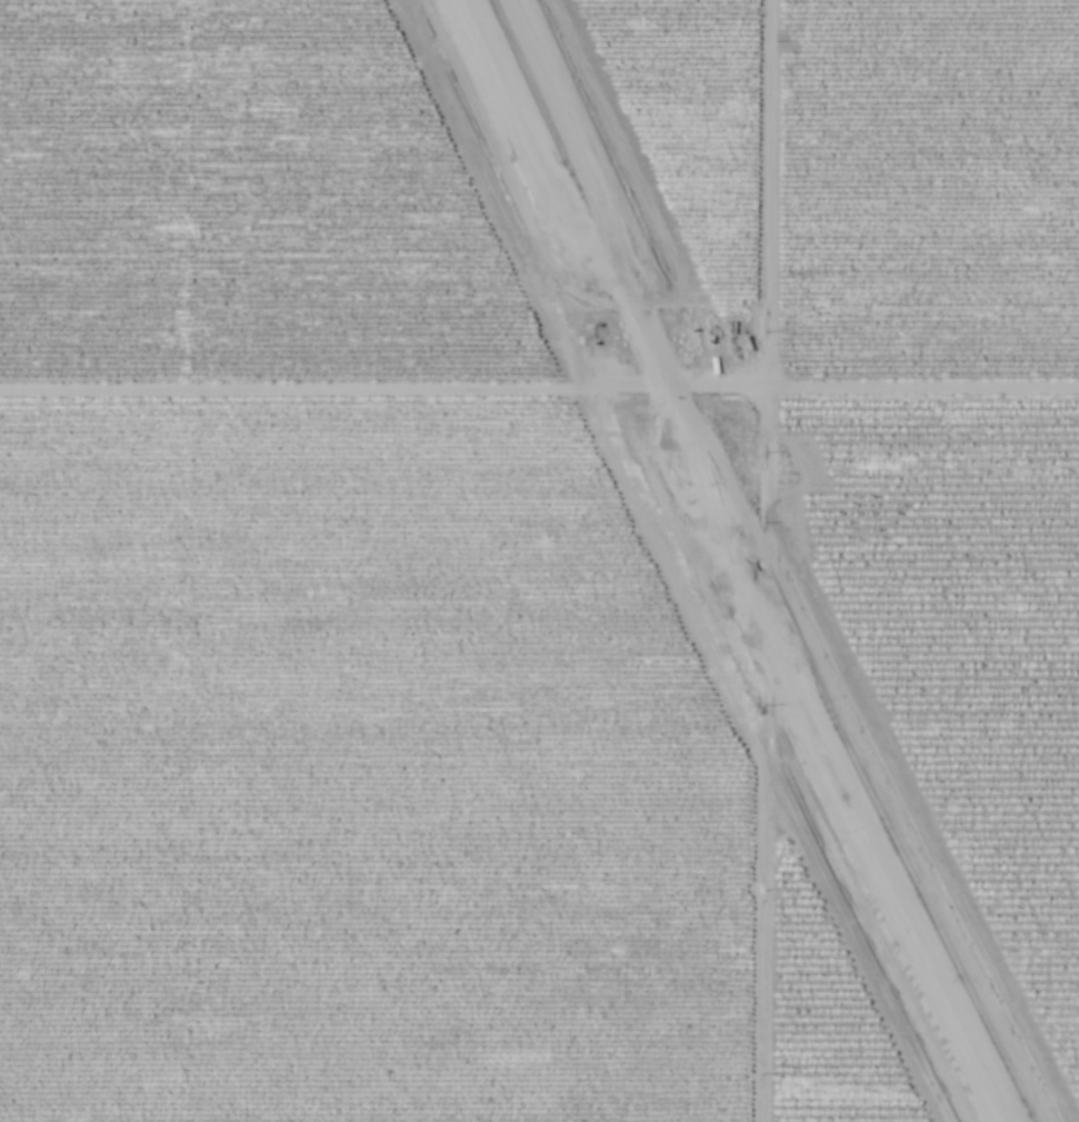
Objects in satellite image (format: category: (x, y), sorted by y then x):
crop: (685, 125)
crop: (925, 196)
road: (762, 203)
crop: (233, 207)
road: (912, 393)
road: (273, 395)
railway: (720, 563)
railway: (732, 563)
crop: (971, 636)
crop: (351, 778)
road: (756, 963)
crop: (816, 1017)

